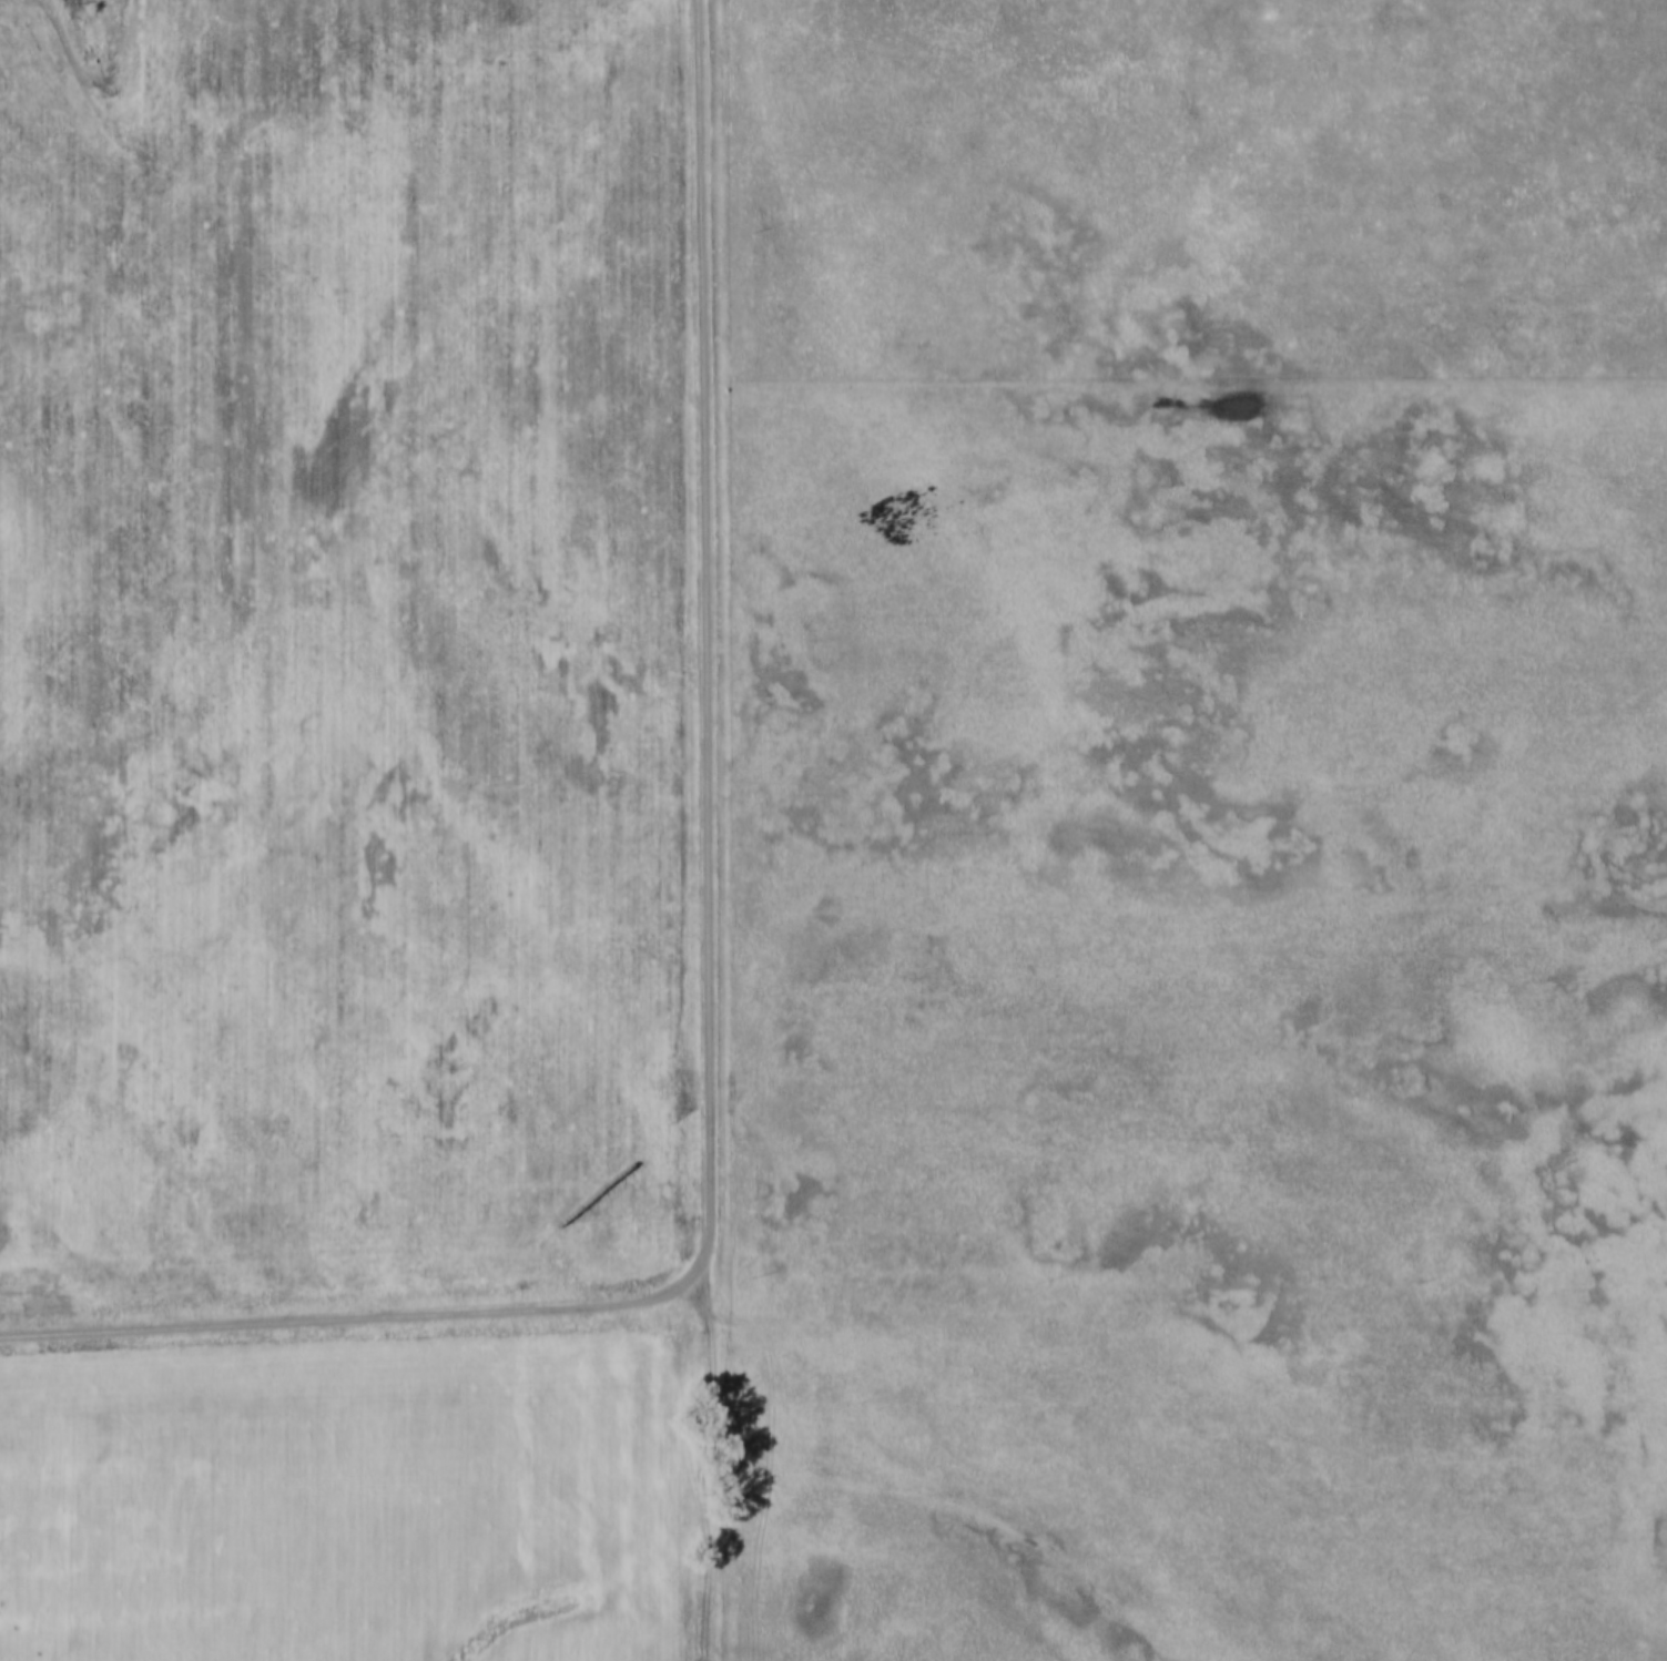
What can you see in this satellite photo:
road: (712, 646)
road: (357, 1313)
road: (712, 1477)

